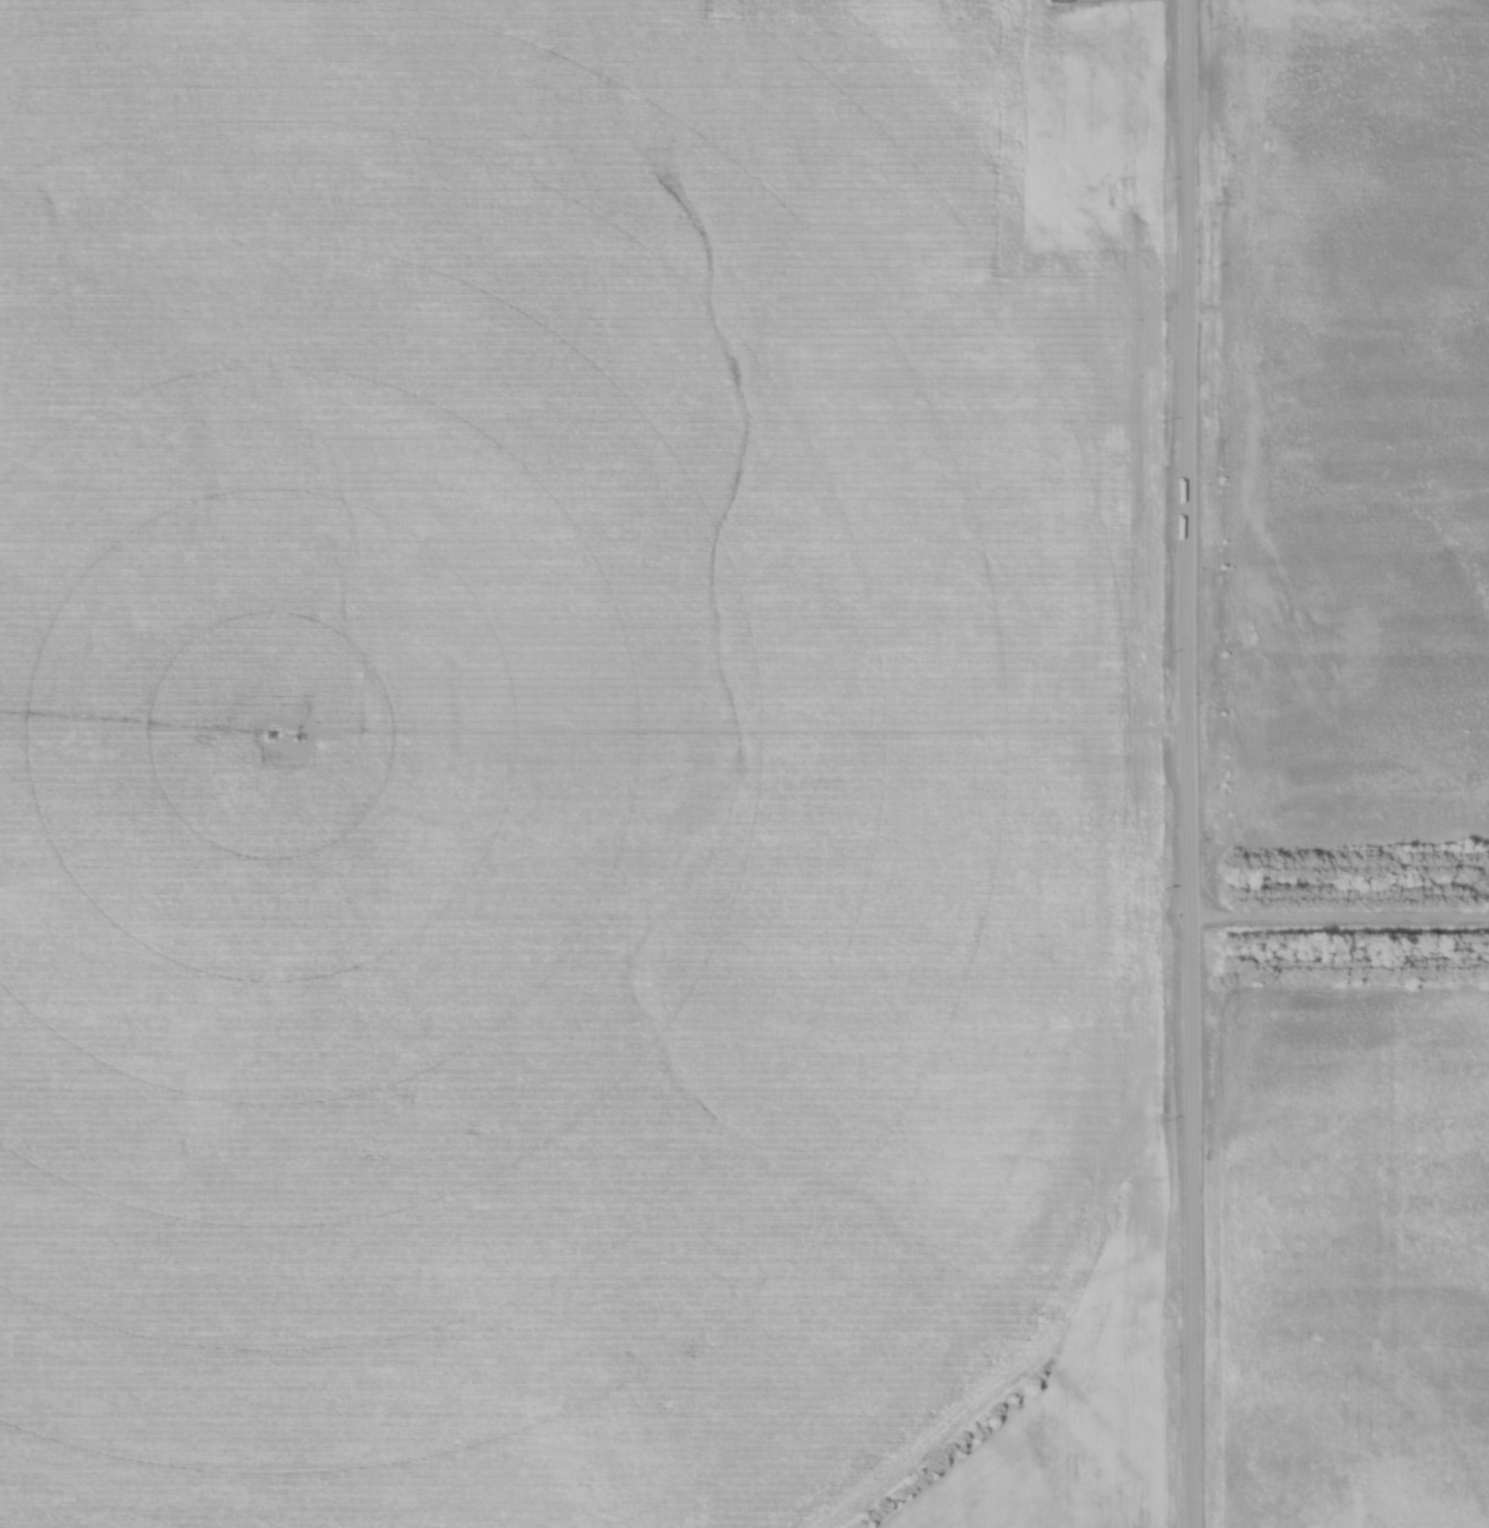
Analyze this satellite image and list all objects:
building: (1056, 1)
road: (1187, 764)
road: (1338, 927)

